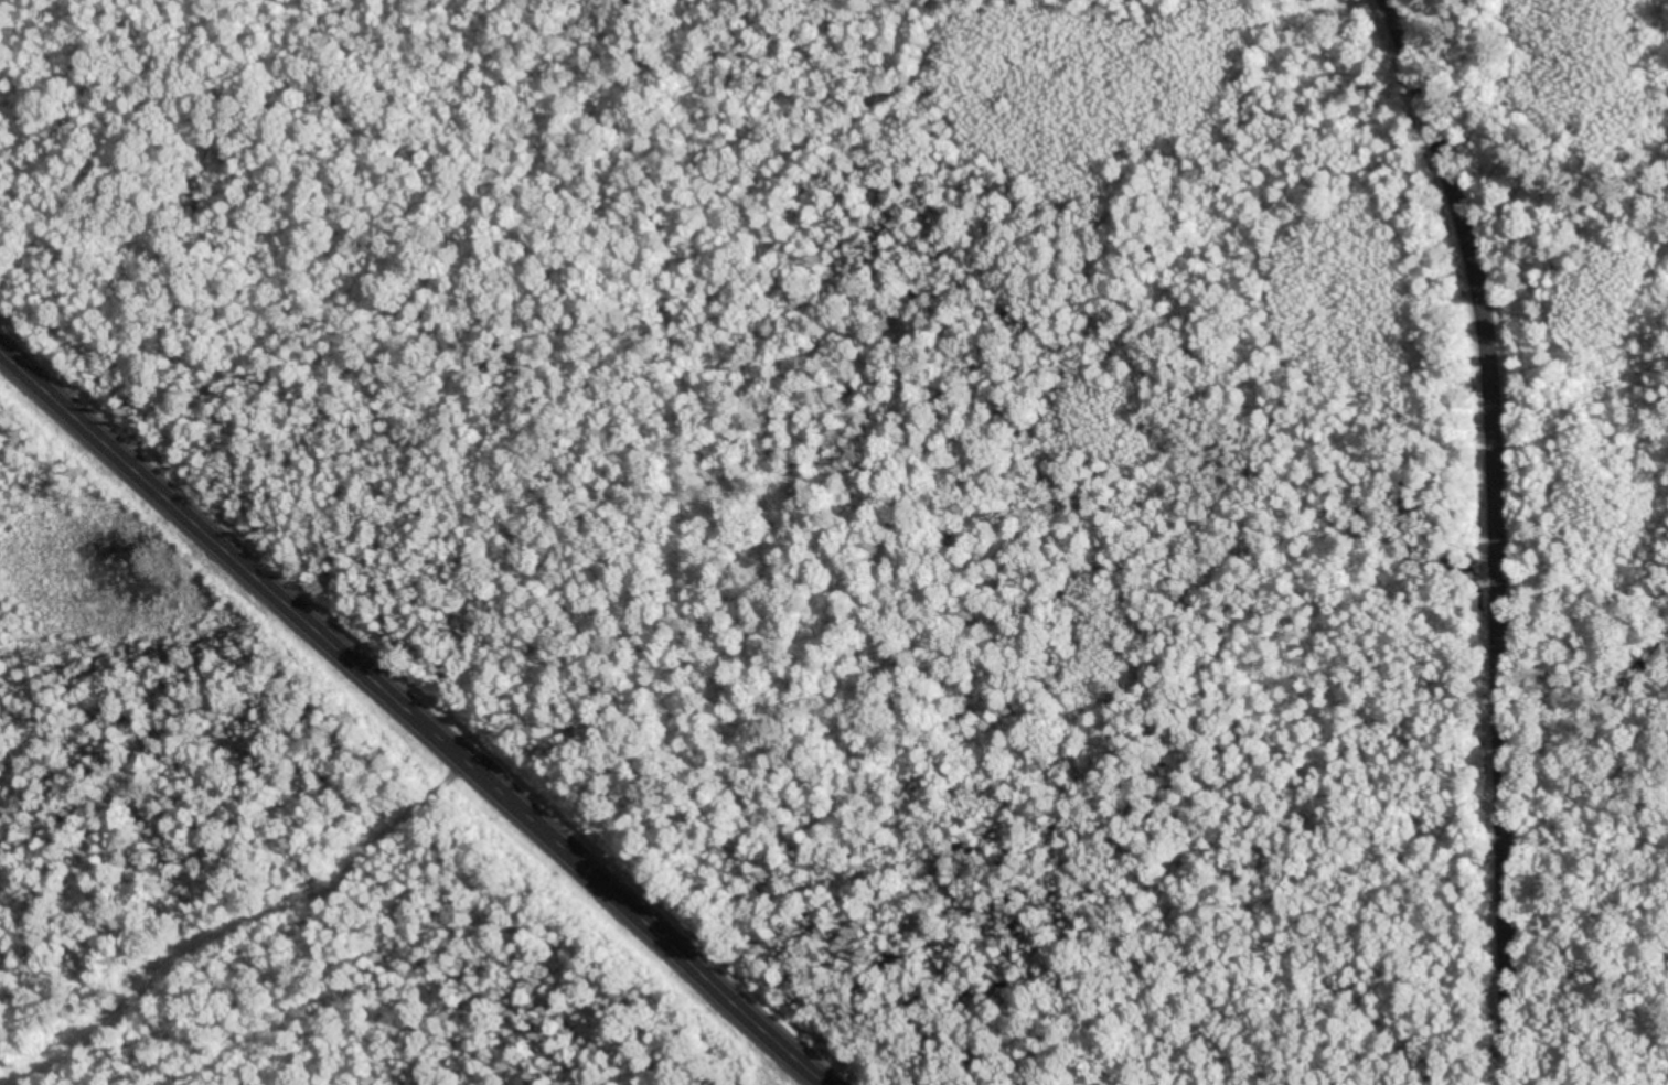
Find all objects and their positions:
road: (1474, 535)
road: (417, 715)

